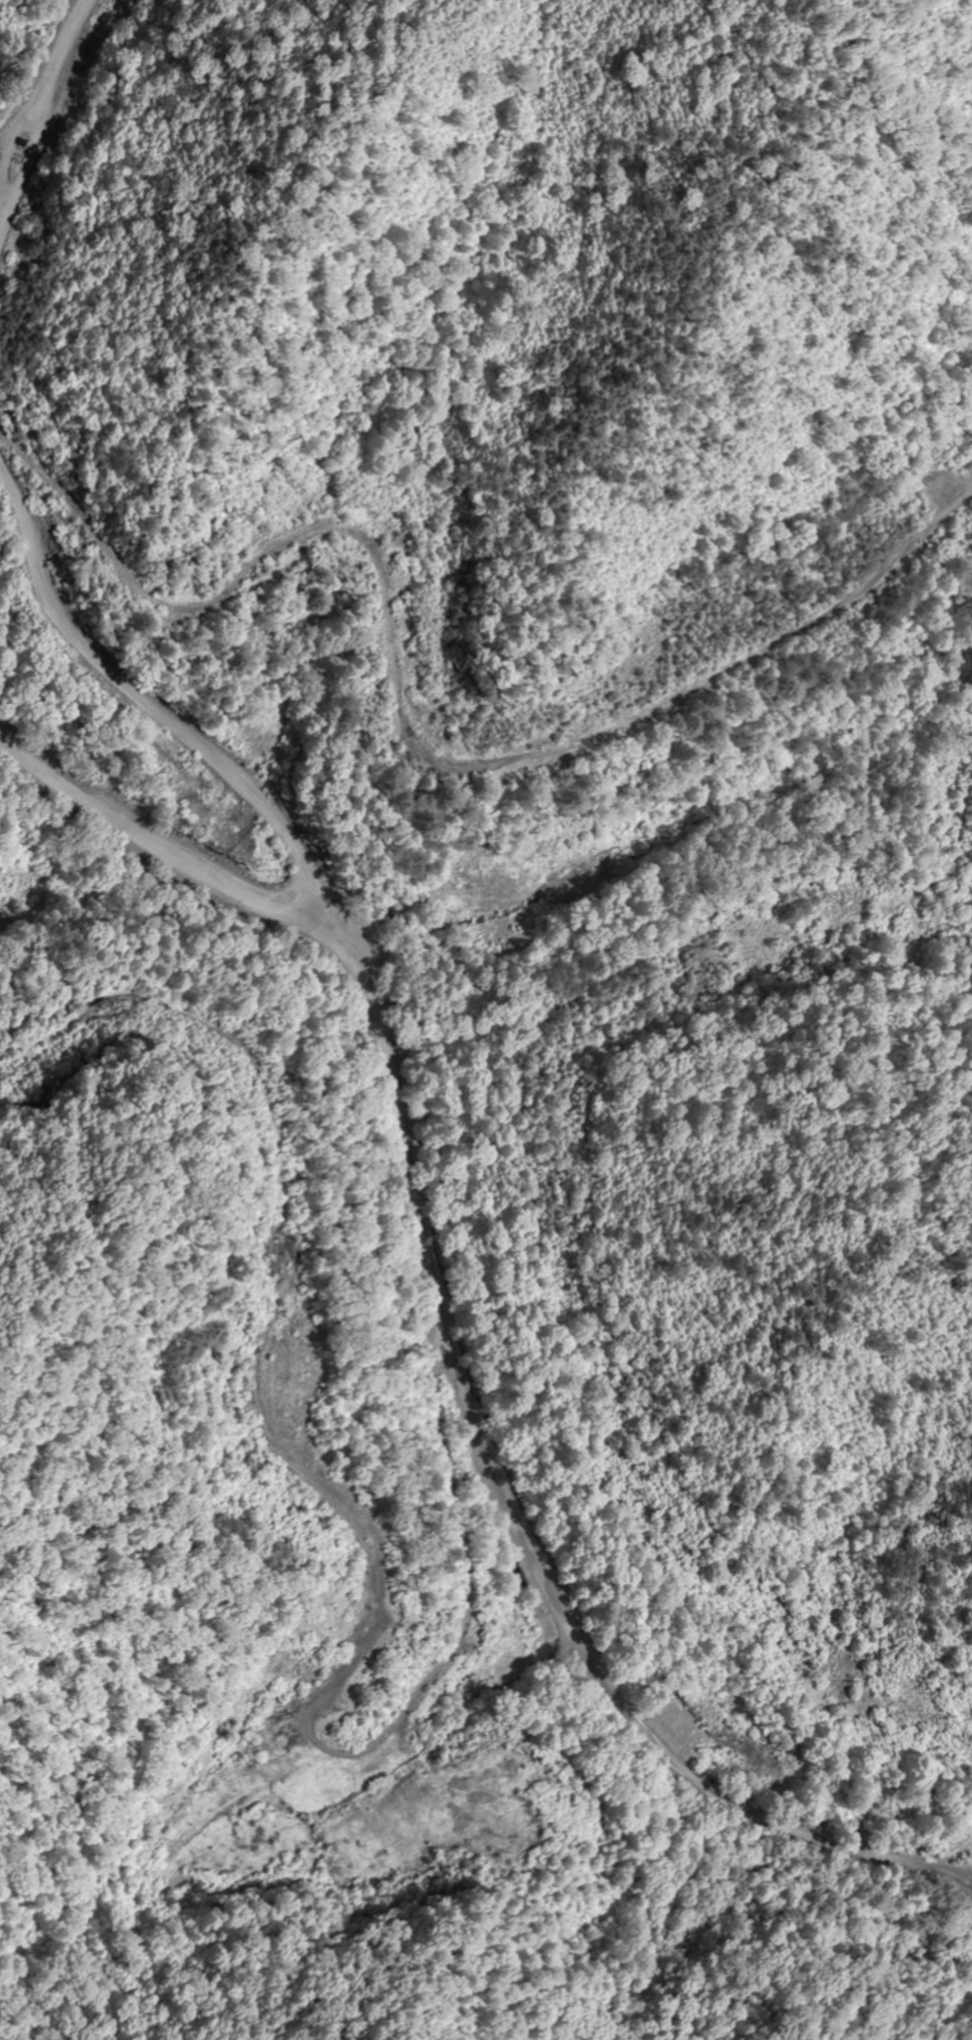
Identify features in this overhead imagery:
quarry: (353, 220)
road: (447, 1341)

